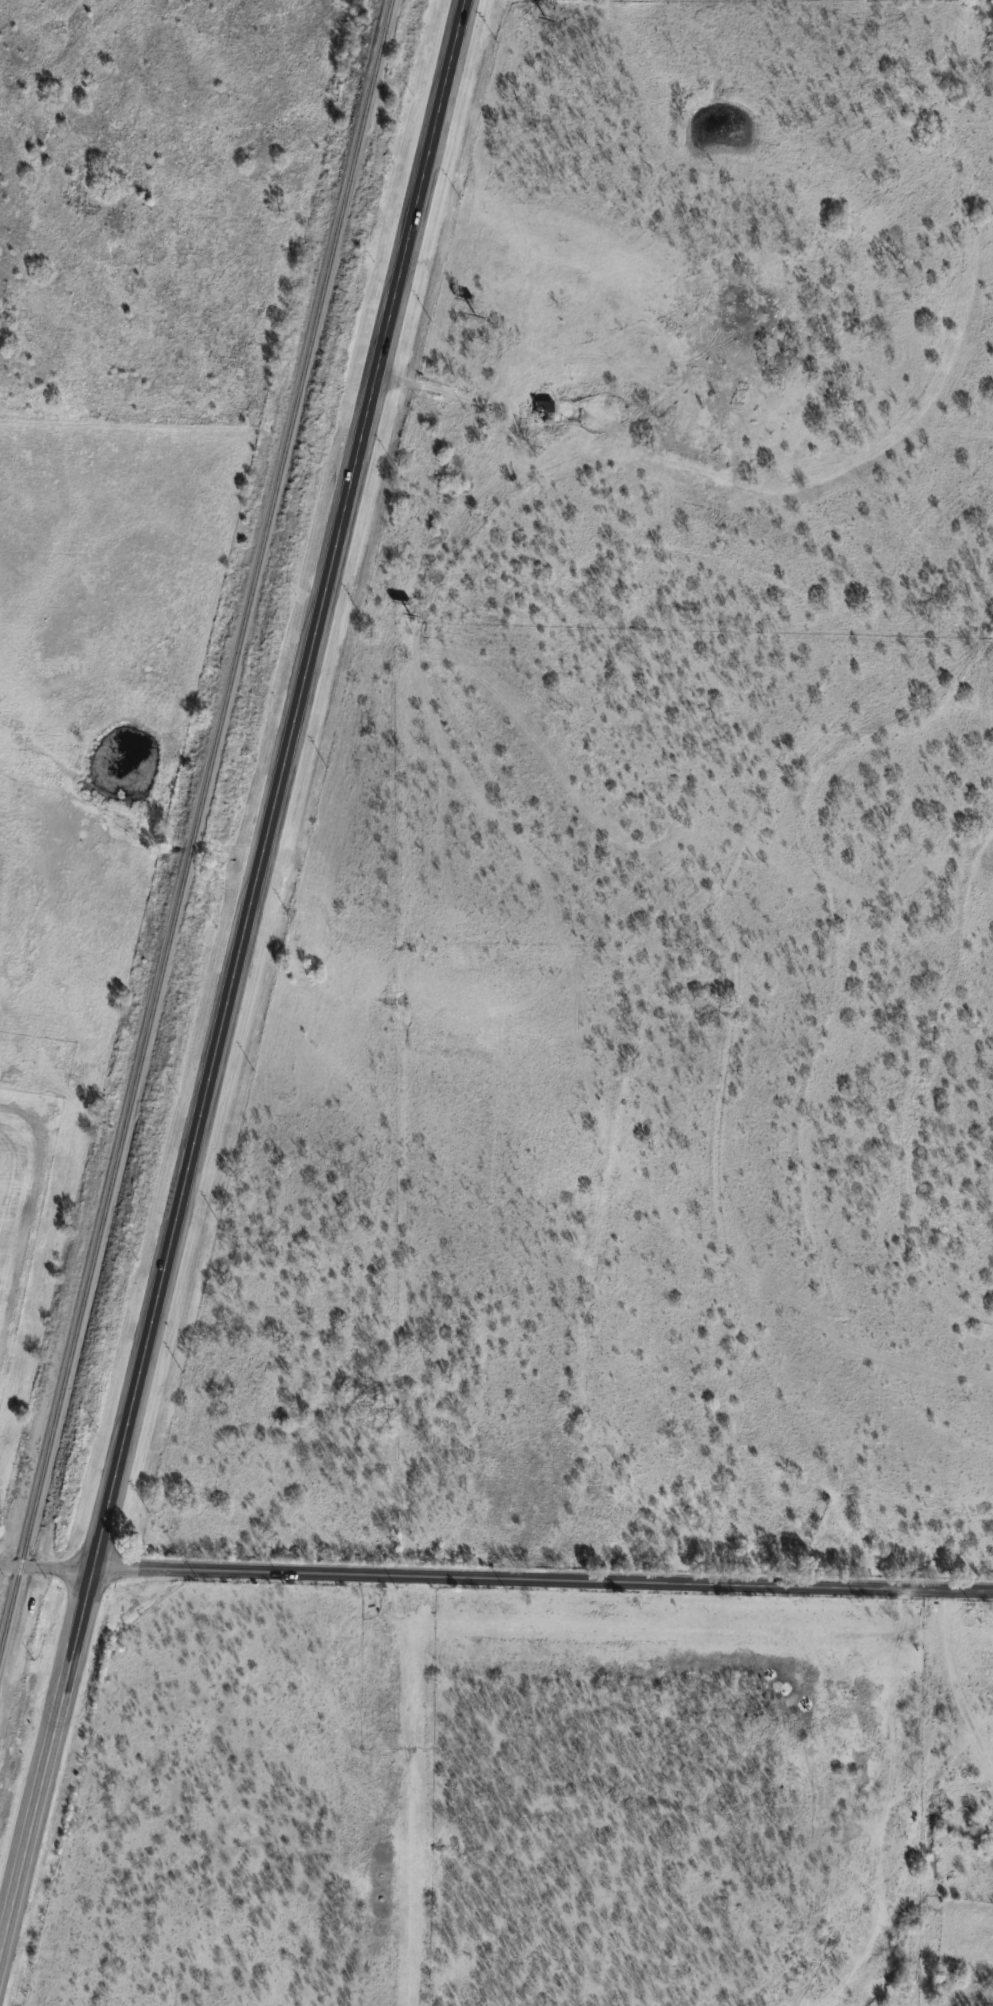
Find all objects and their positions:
building: (546, 411)
road: (275, 783)
railway: (196, 829)
road: (21, 1565)
road: (65, 1567)
road: (263, 1571)
road: (716, 1583)
road: (955, 1686)
road: (43, 1750)

